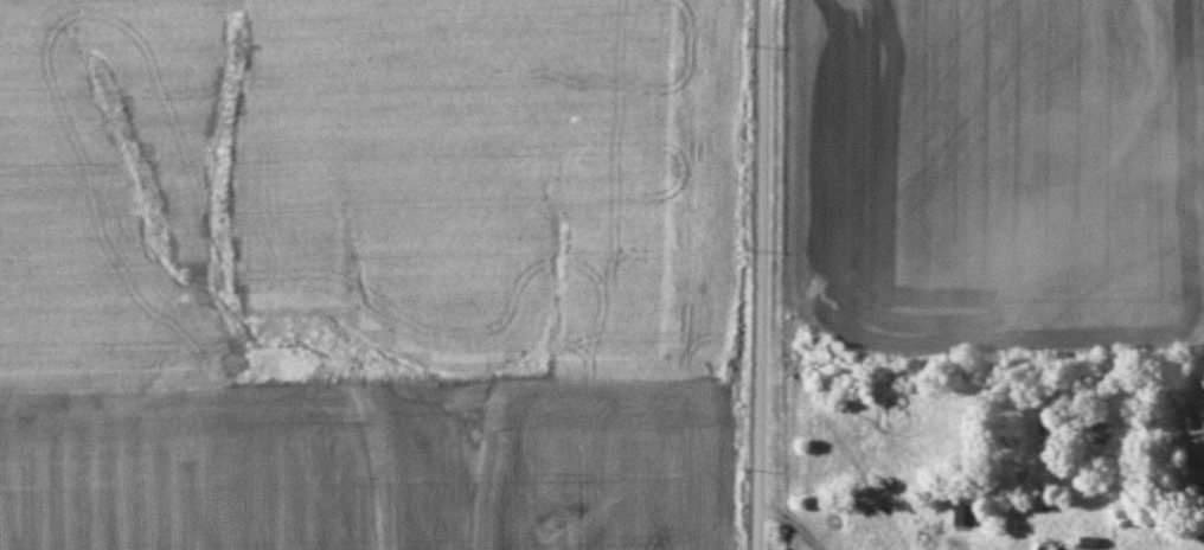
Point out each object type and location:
road: (760, 274)
building: (961, 514)
building: (1061, 544)

